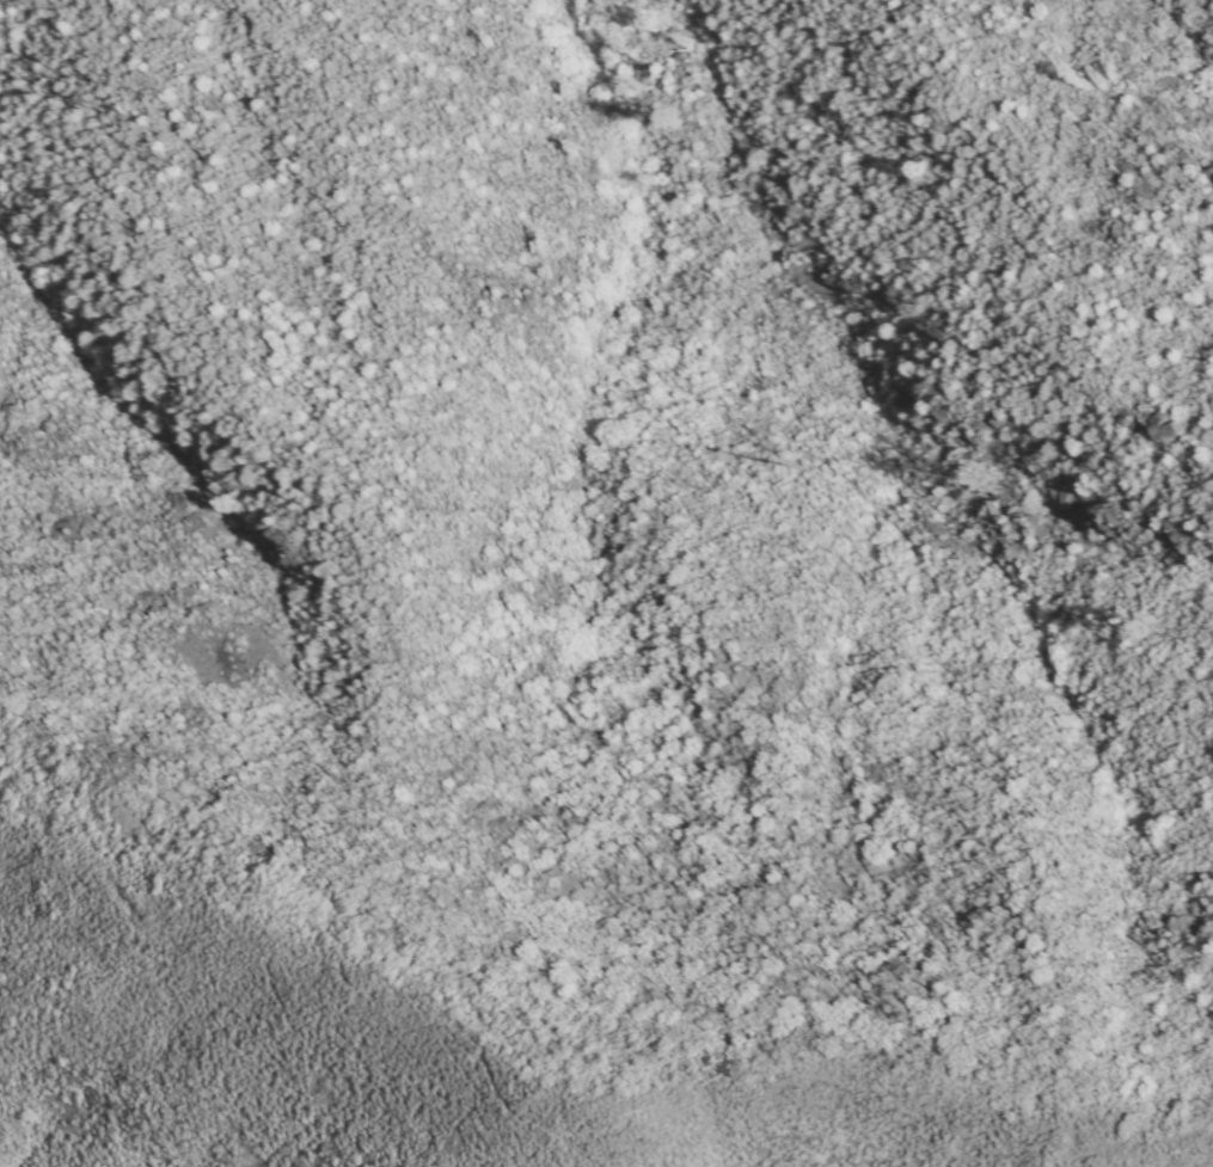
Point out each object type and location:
road: (19, 41)
road: (428, 1030)

